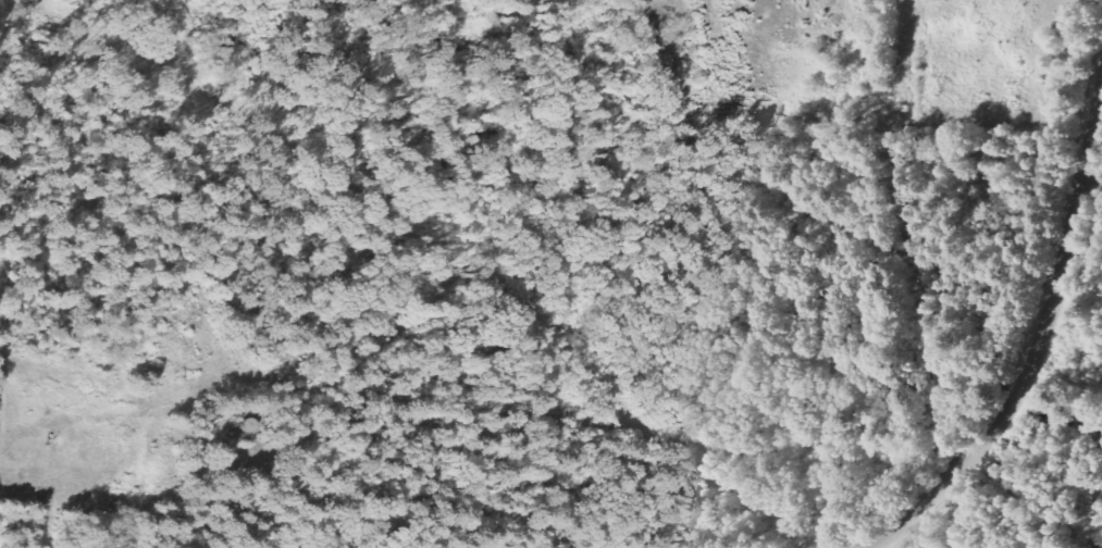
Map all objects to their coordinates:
road: (1037, 348)
road: (921, 528)

